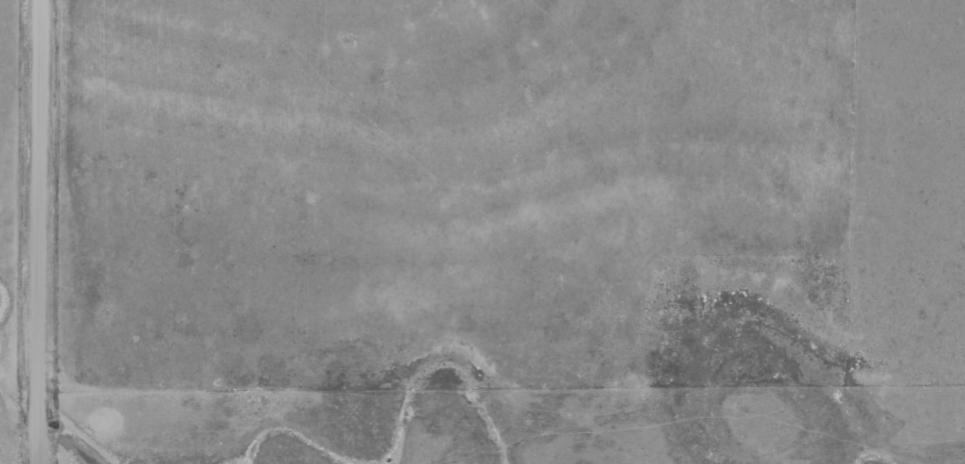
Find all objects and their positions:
road: (41, 232)

